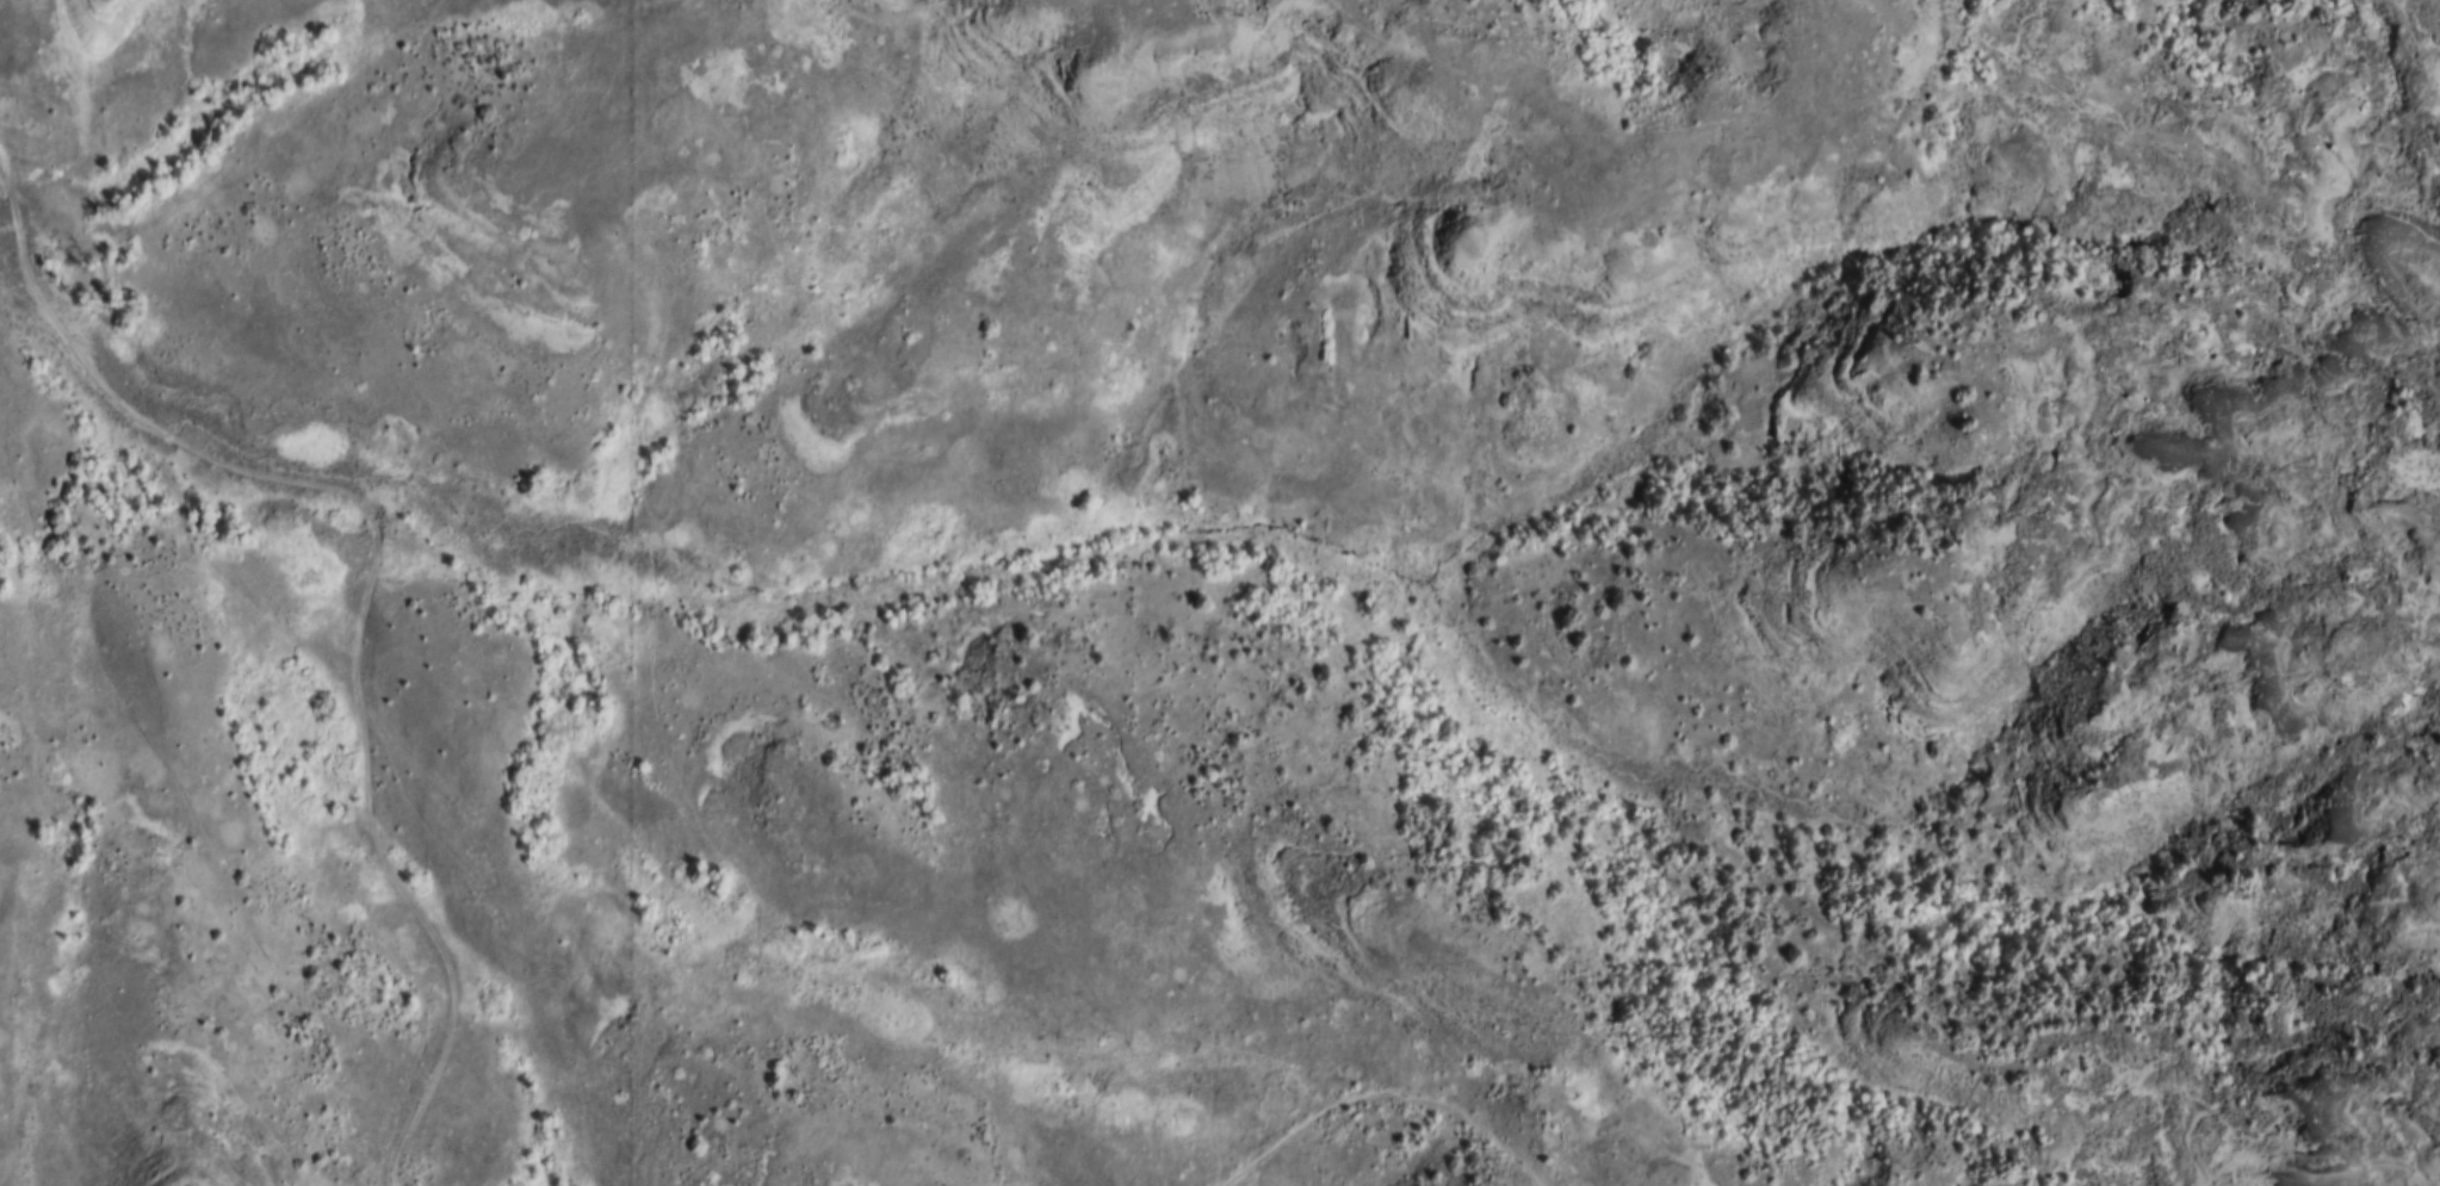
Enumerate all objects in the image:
road: (243, 156)
road: (363, 592)
road: (1381, 1092)
road: (2280, 1168)

